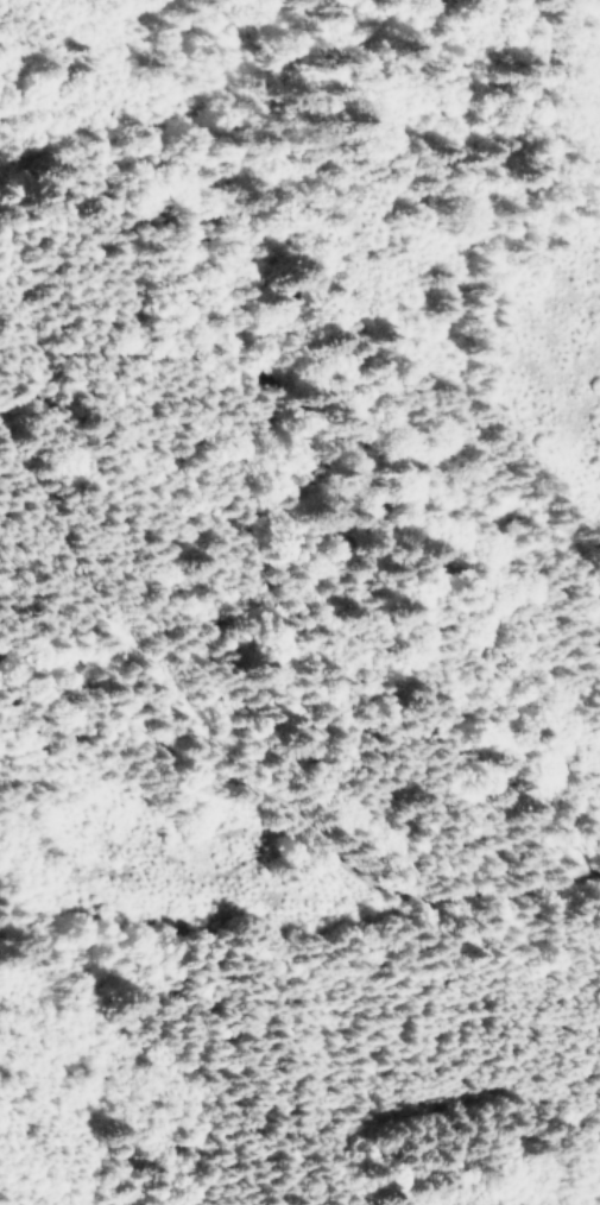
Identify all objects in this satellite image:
road: (386, 247)
road: (296, 788)

